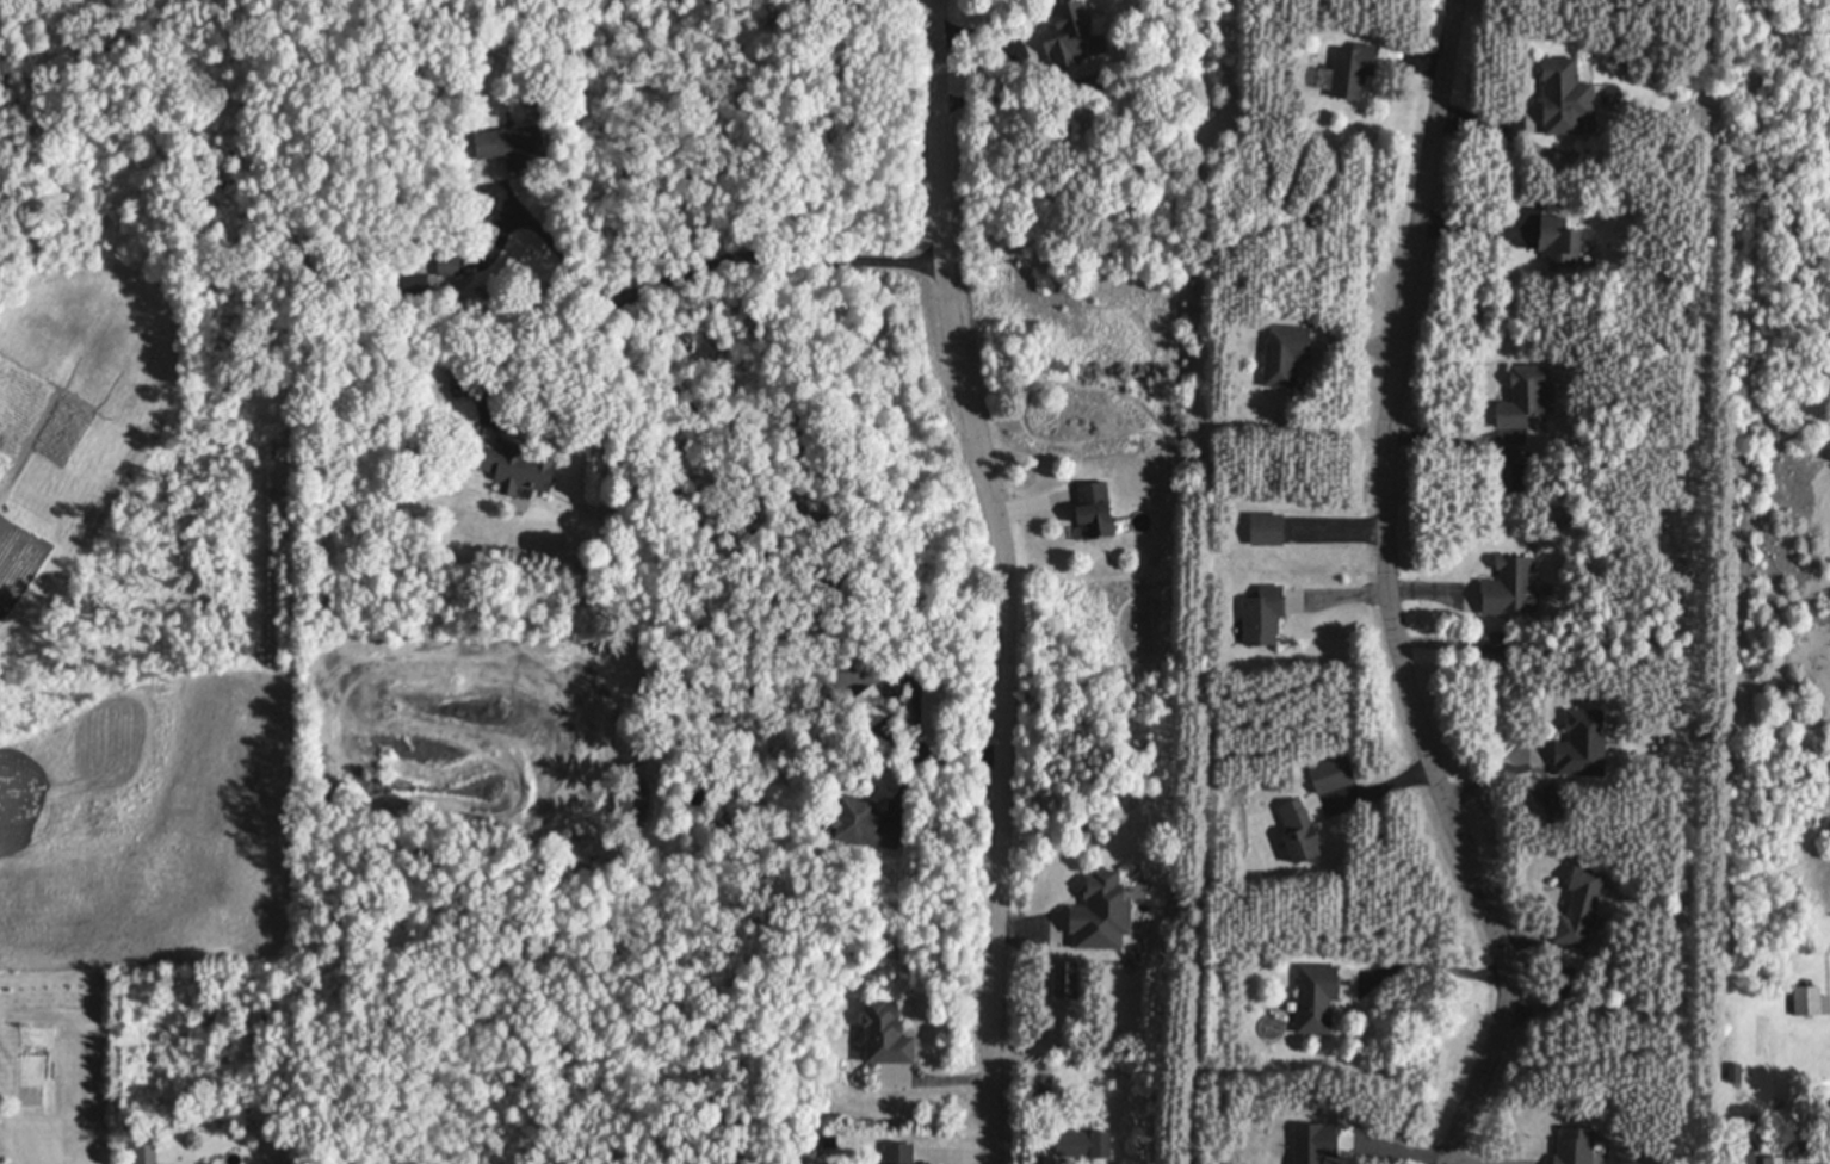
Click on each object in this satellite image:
building: (1072, 37)
building: (1353, 70)
building: (1566, 97)
building: (514, 147)
building: (1560, 239)
road: (704, 258)
building: (450, 266)
building: (416, 281)
road: (534, 343)
building: (1286, 354)
building: (1525, 396)
building: (515, 465)
building: (1511, 475)
building: (1095, 509)
building: (617, 515)
building: (1268, 531)
road: (1008, 578)
building: (1511, 588)
road: (1391, 594)
building: (1265, 613)
building: (1495, 643)
building: (871, 706)
building: (1583, 744)
building: (1333, 774)
building: (1548, 805)
building: (866, 826)
building: (1299, 831)
building: (1582, 909)
building: (1102, 910)
building: (1063, 980)
building: (1318, 993)
building: (1806, 999)
building: (886, 1034)
building: (1736, 1072)
building: (1043, 1085)
building: (1083, 1141)
building: (830, 1143)
building: (1312, 1143)
building: (1576, 1147)
building: (899, 1152)
building: (1743, 1152)
building: (146, 1153)
building: (1774, 1158)
building: (1822, 1163)

